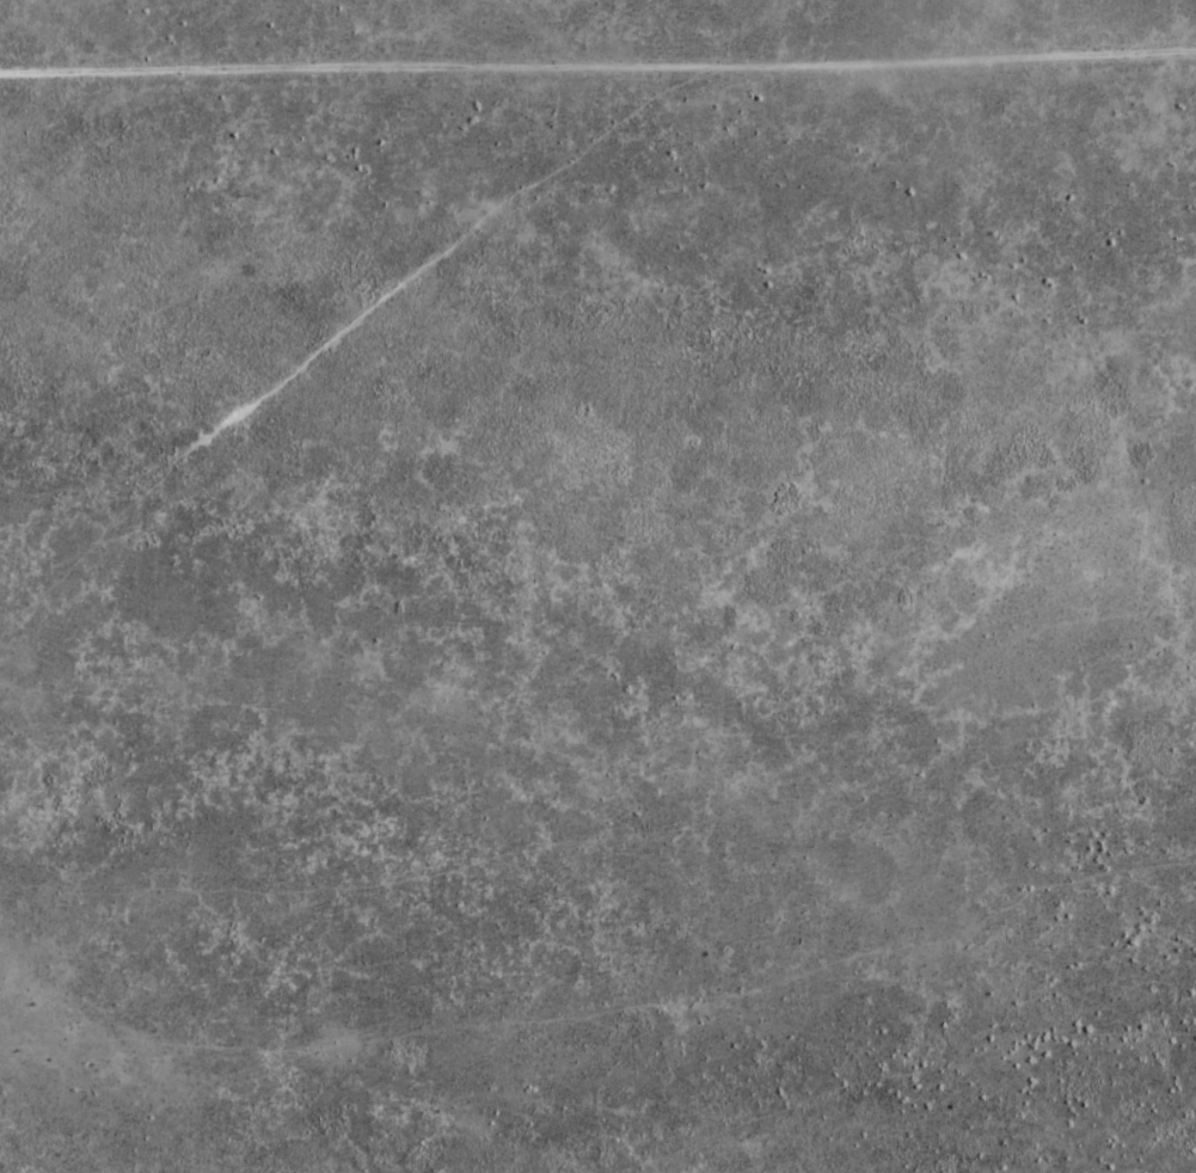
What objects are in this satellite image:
road: (597, 23)

